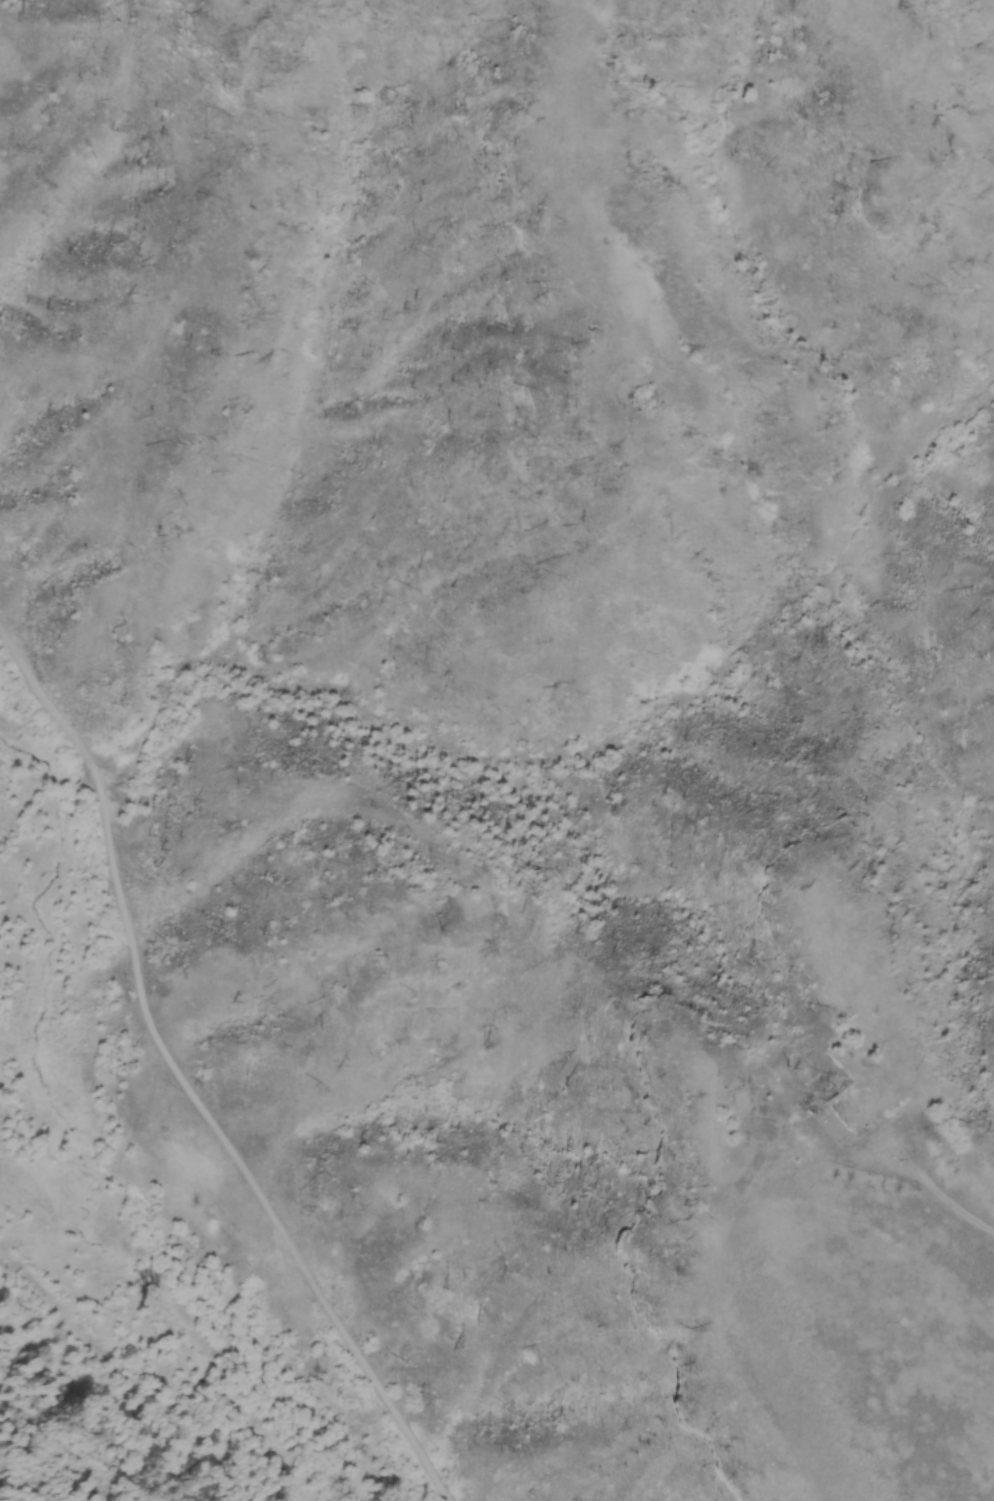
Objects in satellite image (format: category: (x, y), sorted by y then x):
road: (913, 1176)

